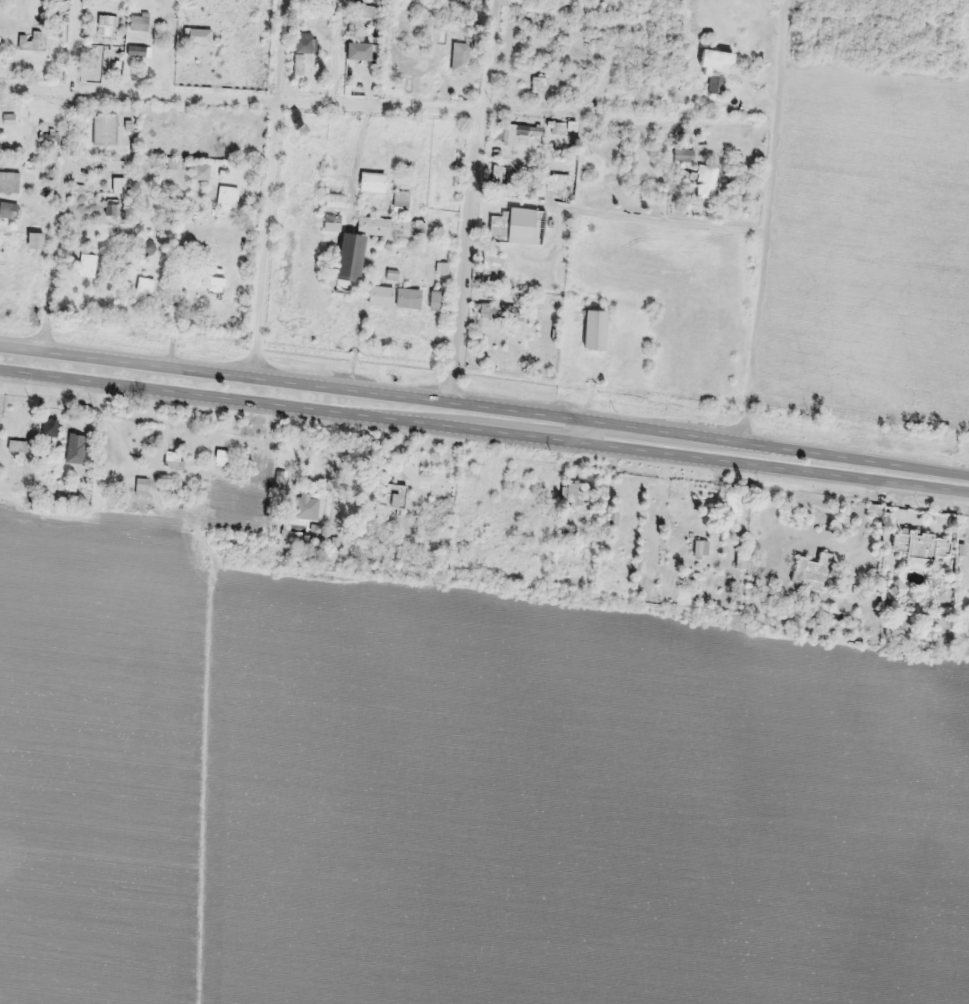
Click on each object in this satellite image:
building: (357, 50)
building: (499, 176)
road: (64, 180)
building: (372, 182)
building: (401, 202)
road: (473, 207)
building: (330, 221)
building: (366, 223)
building: (526, 225)
road: (769, 227)
building: (380, 295)
building: (595, 328)

